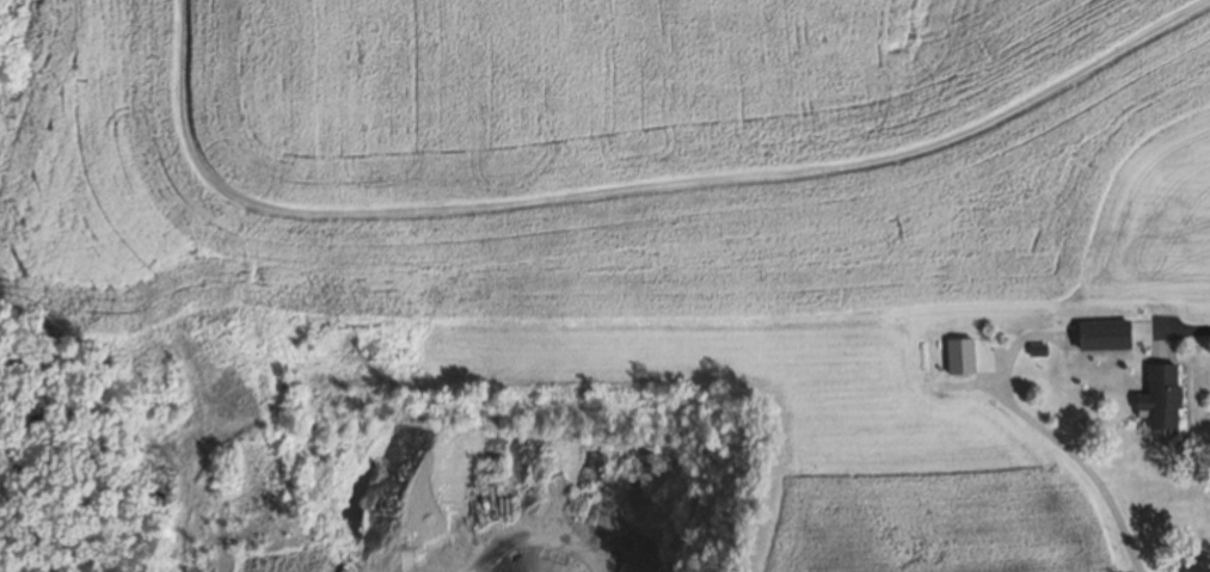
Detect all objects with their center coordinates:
building: (1159, 396)

